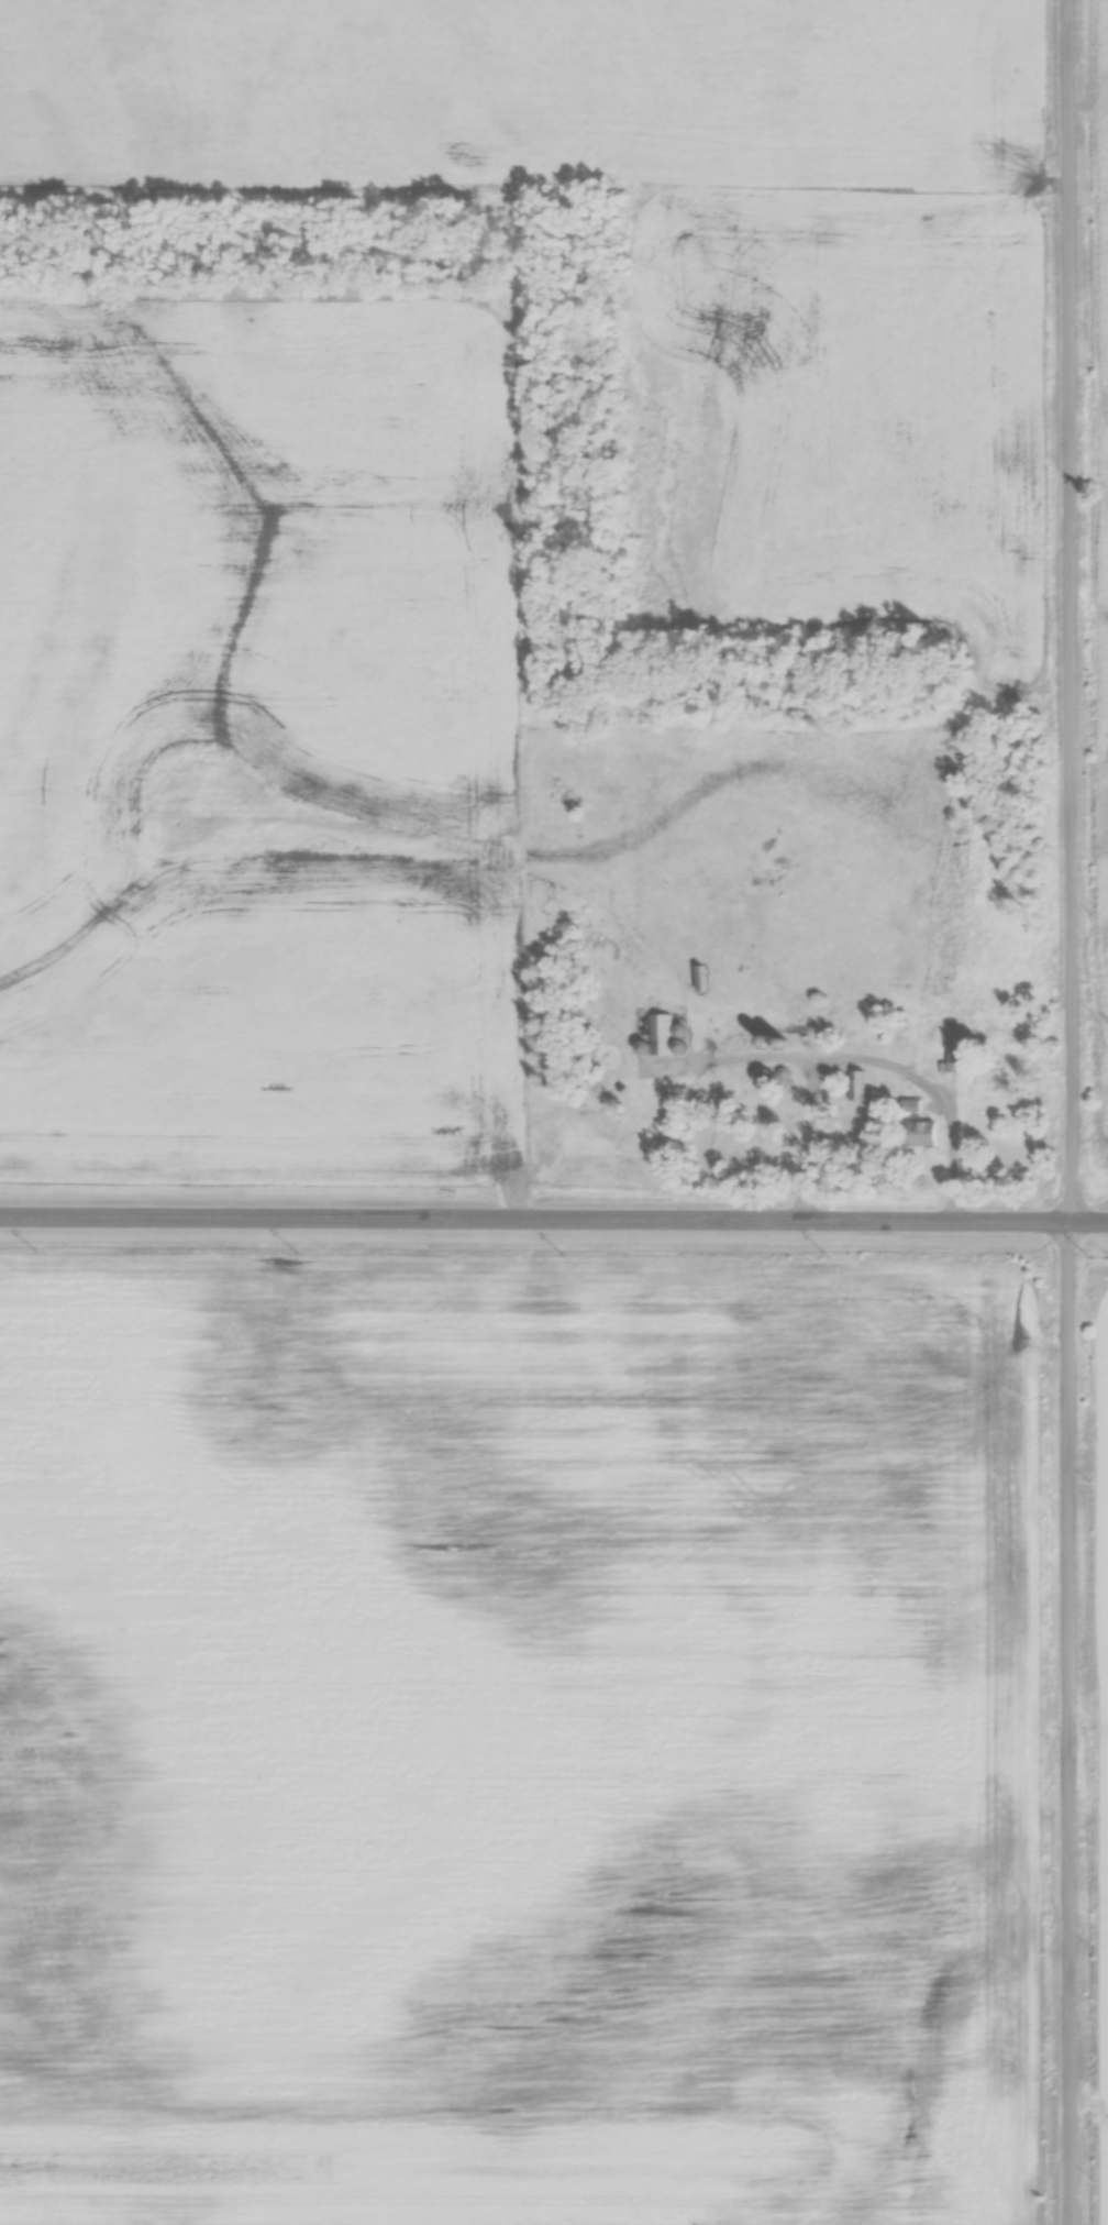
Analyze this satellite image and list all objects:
road: (1071, 614)
building: (661, 1034)
building: (955, 1062)
building: (767, 1079)
building: (856, 1086)
building: (912, 1106)
building: (923, 1134)
road: (536, 1224)
road: (1090, 1227)
road: (1073, 1726)

